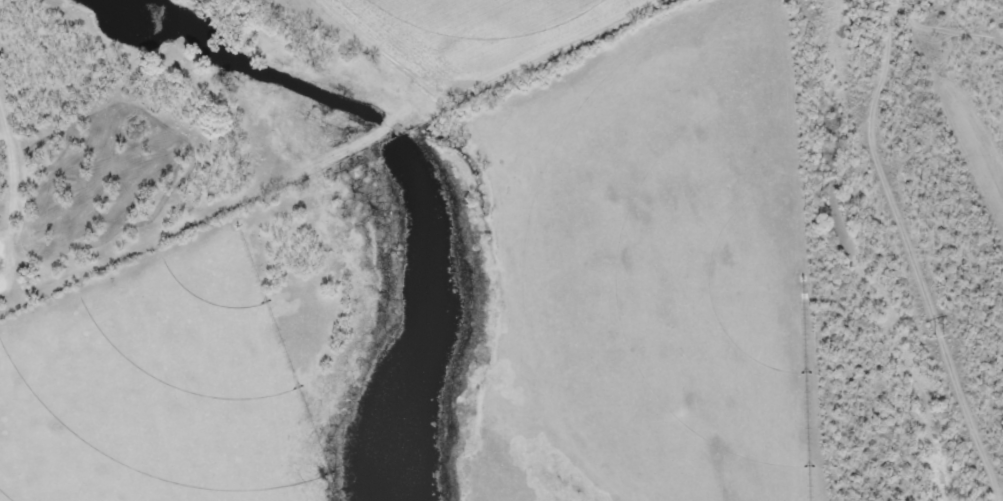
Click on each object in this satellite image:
power tower: (821, 0)
power tower: (937, 334)

